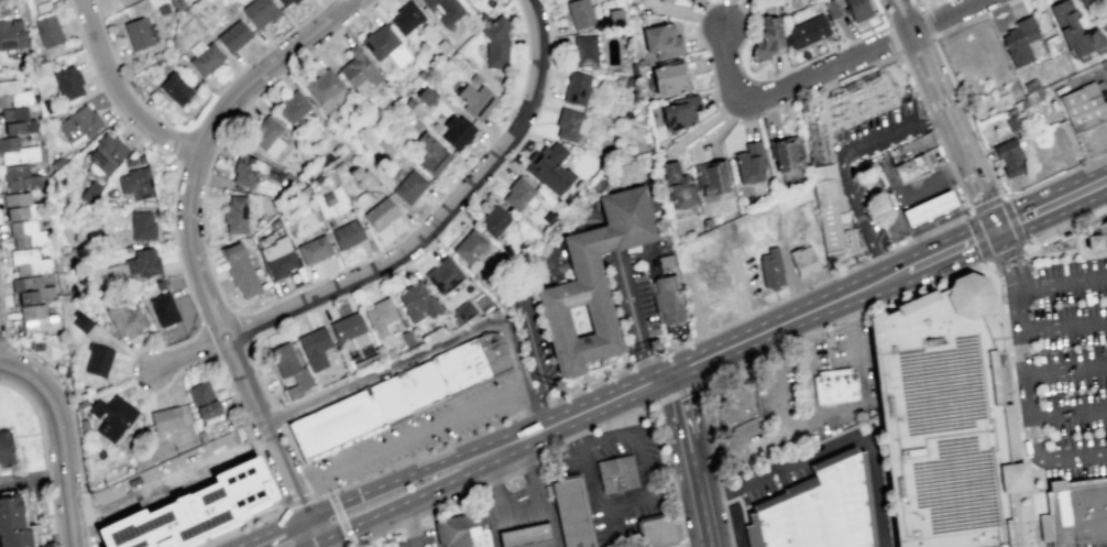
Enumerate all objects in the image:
building: (471, 0)
road: (2, 1)
building: (1084, 1)
building: (285, 2)
road: (921, 3)
building: (832, 7)
building: (447, 9)
building: (858, 9)
building: (260, 11)
road: (699, 12)
road: (880, 12)
building: (579, 13)
parking lot: (1103, 13)
building: (406, 15)
building: (615, 19)
building: (1073, 29)
building: (807, 30)
building: (47, 31)
building: (11, 33)
building: (136, 33)
building: (234, 35)
building: (768, 35)
building: (661, 39)
building: (496, 40)
building: (1019, 40)
building: (384, 43)
building: (583, 50)
road: (901, 50)
road: (842, 53)
parking lot: (1106, 58)
building: (206, 59)
road: (266, 67)
building: (359, 67)
road: (827, 69)
road: (833, 74)
parking lot: (1105, 74)
building: (668, 76)
building: (68, 81)
road: (931, 81)
road: (913, 84)
building: (1098, 84)
building: (1030, 85)
building: (326, 87)
building: (576, 87)
building: (175, 88)
building: (465, 90)
road: (119, 92)
building: (12, 94)
building: (425, 96)
building: (408, 101)
building: (480, 101)
building: (292, 103)
building: (1083, 106)
building: (680, 110)
building: (17, 121)
road: (930, 121)
building: (1013, 121)
building: (567, 122)
road: (197, 123)
building: (79, 124)
building: (457, 131)
building: (266, 135)
road: (1105, 136)
parking lot: (1092, 140)
building: (909, 147)
building: (15, 151)
building: (788, 151)
building: (105, 153)
building: (431, 153)
road: (845, 153)
building: (1008, 156)
building: (325, 158)
building: (134, 160)
building: (57, 161)
building: (748, 161)
building: (549, 166)
building: (910, 167)
building: (250, 169)
road: (989, 169)
building: (20, 176)
building: (361, 176)
building: (711, 176)
building: (135, 183)
building: (677, 184)
building: (409, 186)
building: (89, 192)
building: (518, 192)
road: (982, 196)
building: (328, 198)
parking lot: (867, 201)
road: (1052, 205)
building: (21, 206)
building: (827, 207)
building: (929, 208)
building: (381, 212)
building: (235, 214)
road: (439, 216)
road: (454, 216)
building: (494, 218)
building: (141, 225)
road: (1066, 228)
traffic signals: (997, 231)
road: (927, 232)
building: (1064, 232)
building: (1101, 232)
building: (28, 233)
building: (347, 233)
road: (610, 233)
road: (1072, 234)
building: (1092, 242)
building: (469, 244)
road: (549, 245)
building: (314, 249)
road: (176, 251)
road: (1053, 251)
road: (941, 254)
road: (1092, 254)
building: (278, 256)
road: (1008, 259)
building: (802, 260)
building: (29, 261)
road: (989, 263)
building: (136, 264)
road: (881, 266)
building: (240, 267)
building: (770, 267)
building: (443, 274)
road: (791, 280)
building: (592, 281)
road: (1061, 282)
parking lot: (636, 285)
building: (30, 288)
road: (742, 293)
road: (796, 293)
building: (416, 300)
road: (268, 303)
building: (667, 304)
road: (771, 304)
building: (163, 309)
building: (464, 309)
building: (380, 315)
road: (632, 315)
road: (745, 316)
building: (36, 317)
building: (127, 319)
building: (80, 320)
road: (844, 320)
road: (778, 322)
road: (1063, 325)
building: (347, 326)
road: (239, 329)
building: (413, 330)
road: (697, 337)
road: (224, 338)
building: (406, 338)
road: (210, 342)
road: (4, 344)
road: (531, 346)
building: (314, 347)
road: (1020, 350)
building: (492, 351)
road: (187, 353)
road: (410, 354)
building: (97, 360)
parking lot: (1060, 361)
road: (644, 362)
building: (459, 365)
road: (1064, 369)
building: (291, 370)
road: (863, 374)
road: (810, 381)
road: (675, 382)
building: (420, 385)
road: (590, 385)
building: (833, 385)
road: (1006, 385)
road: (262, 386)
road: (527, 392)
road: (678, 392)
road: (538, 393)
road: (235, 395)
building: (388, 398)
building: (202, 400)
road: (702, 404)
building: (736, 404)
road: (1017, 404)
road: (1026, 407)
road: (534, 408)
road: (69, 409)
road: (39, 413)
road: (1067, 413)
road: (538, 414)
building: (111, 416)
road: (577, 416)
road: (622, 416)
building: (165, 418)
building: (943, 419)
road: (57, 422)
building: (333, 423)
road: (712, 423)
road: (782, 427)
road: (420, 429)
parking lot: (423, 430)
road: (686, 430)
road: (15, 435)
road: (636, 436)
road: (577, 437)
road: (666, 440)
road: (832, 441)
building: (4, 448)
road: (549, 448)
road: (172, 459)
road: (527, 467)
parking lot: (791, 469)
road: (383, 471)
building: (615, 473)
road: (511, 474)
road: (310, 475)
road: (1012, 477)
road: (32, 479)
road: (295, 479)
road: (393, 480)
road: (171, 481)
road: (492, 483)
road: (1076, 483)
parking lot: (750, 485)
road: (676, 486)
road: (719, 486)
road: (1038, 489)
road: (404, 501)
road: (296, 502)
road: (450, 502)
road: (739, 502)
road: (604, 504)
road: (525, 506)
road: (79, 507)
road: (280, 507)
road: (701, 507)
building: (816, 507)
building: (193, 510)
building: (571, 511)
building: (1074, 511)
building: (11, 512)
road: (341, 518)
road: (409, 519)
road: (611, 519)
road: (544, 521)
road: (682, 522)
road: (410, 523)
road: (506, 526)
road: (314, 527)
road: (70, 528)
road: (268, 530)
building: (461, 530)
building: (657, 530)
road: (376, 534)
building: (523, 535)
building: (15, 537)
parking lot: (412, 537)
road: (314, 543)
road: (325, 543)
road: (349, 546)

